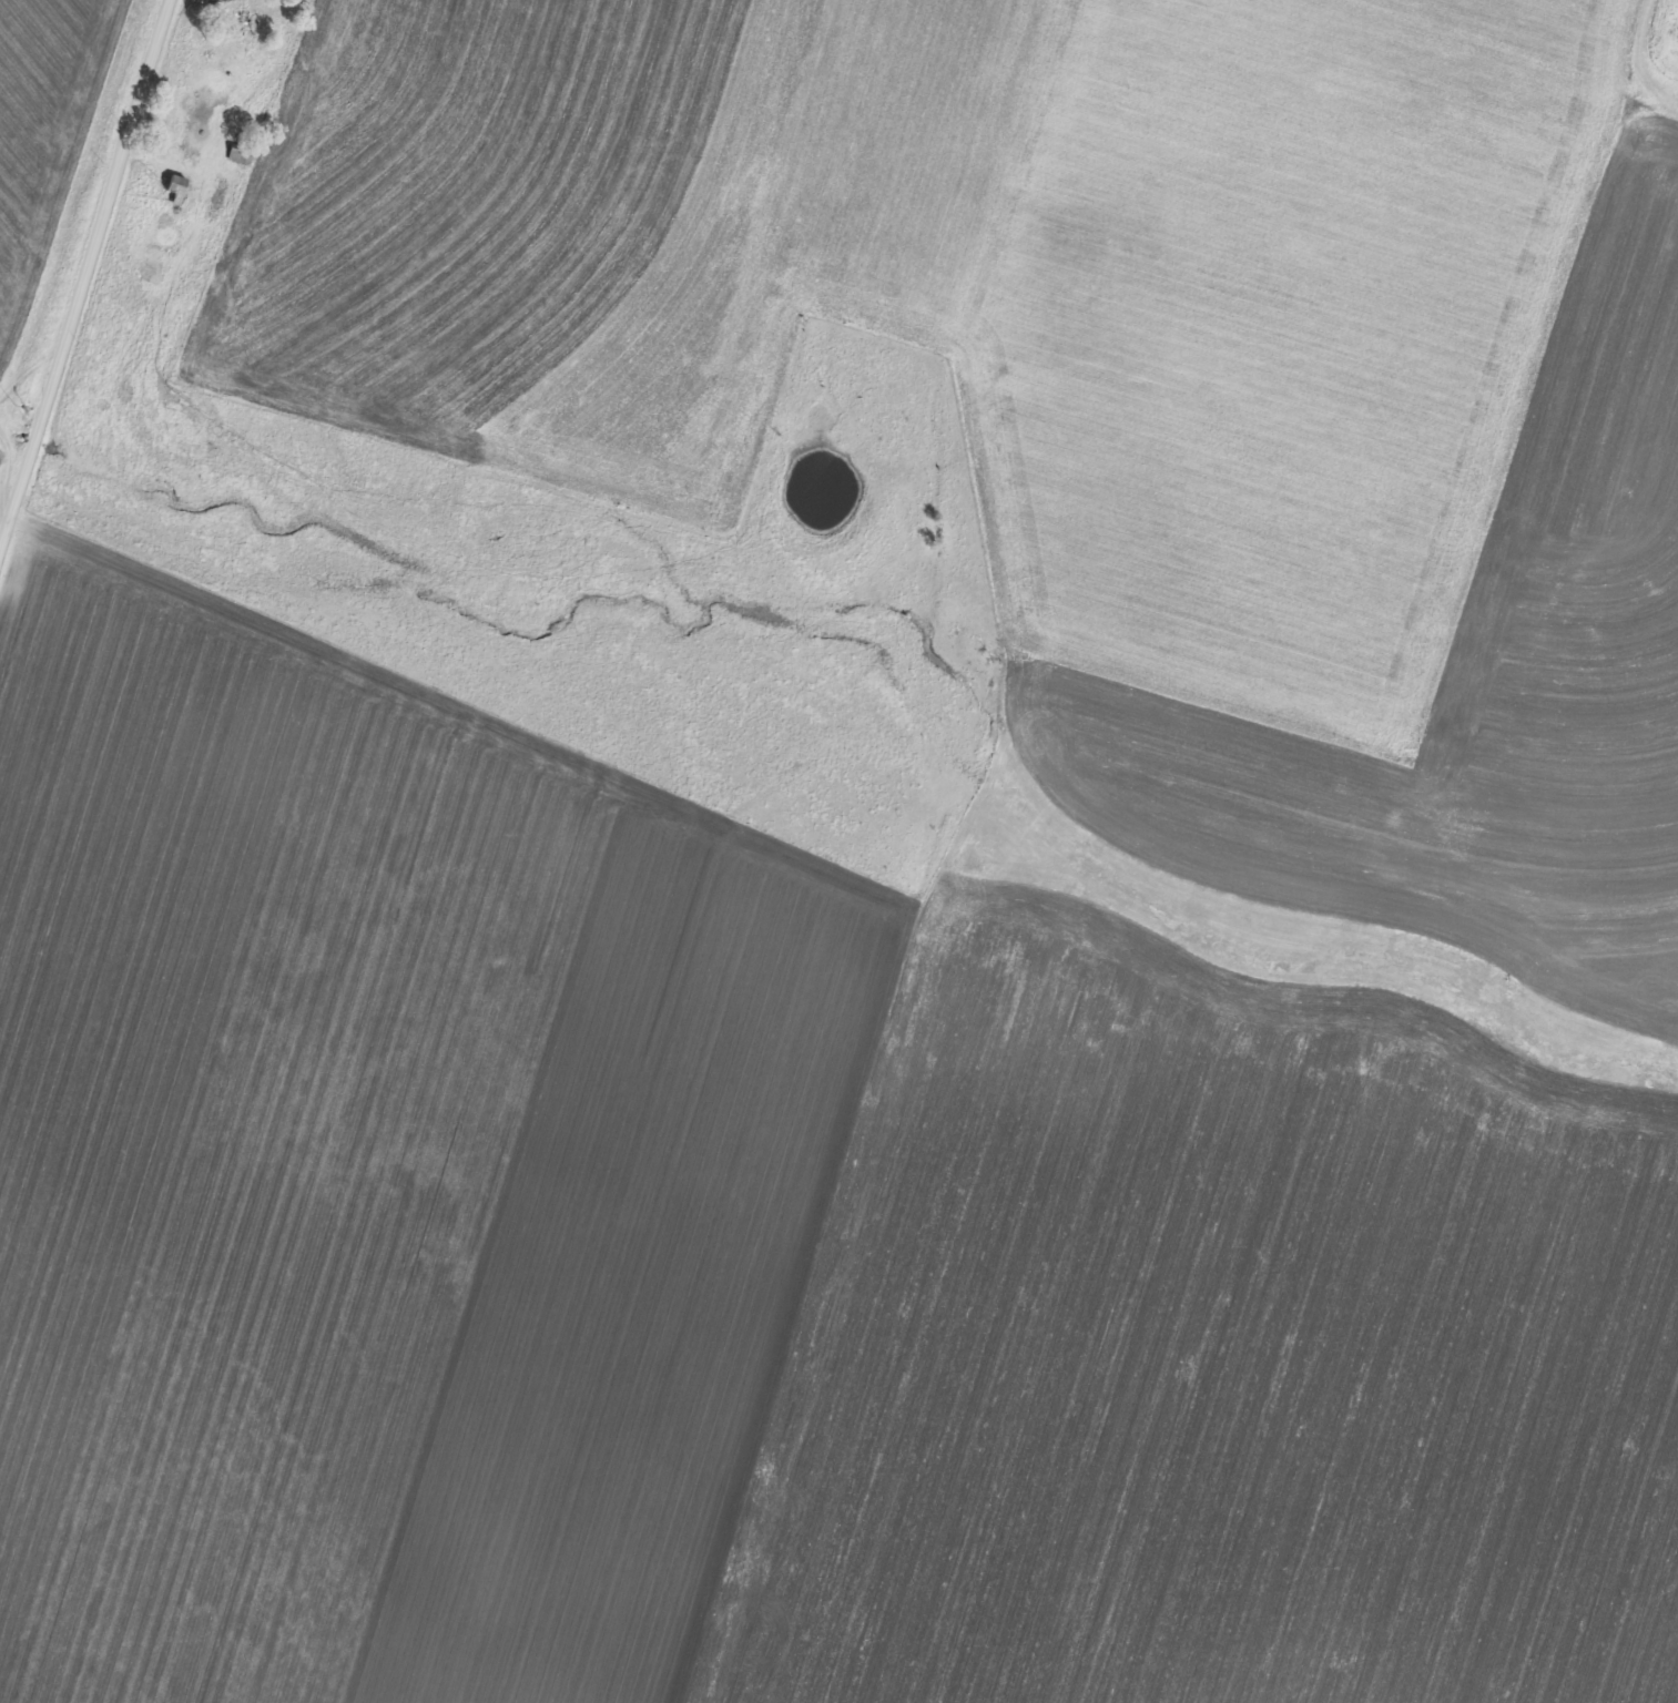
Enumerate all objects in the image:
road: (83, 274)

